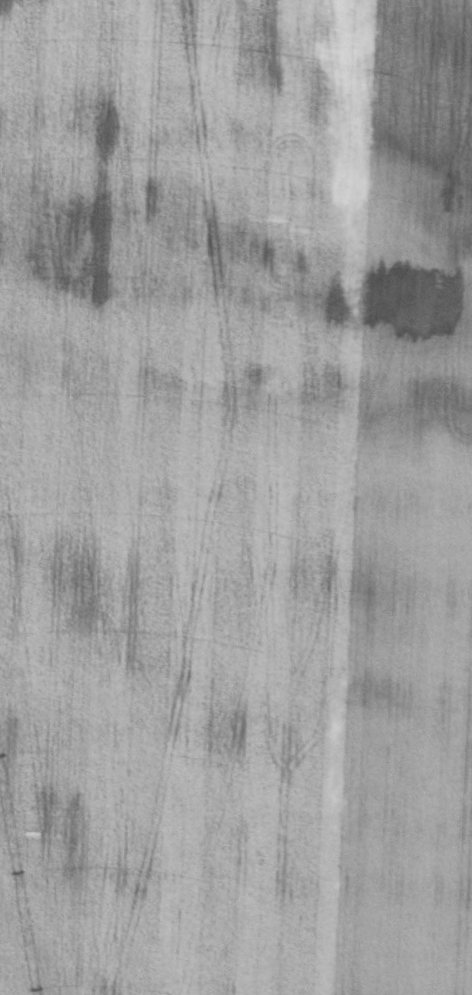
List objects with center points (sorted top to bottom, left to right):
crop: (236, 497)

